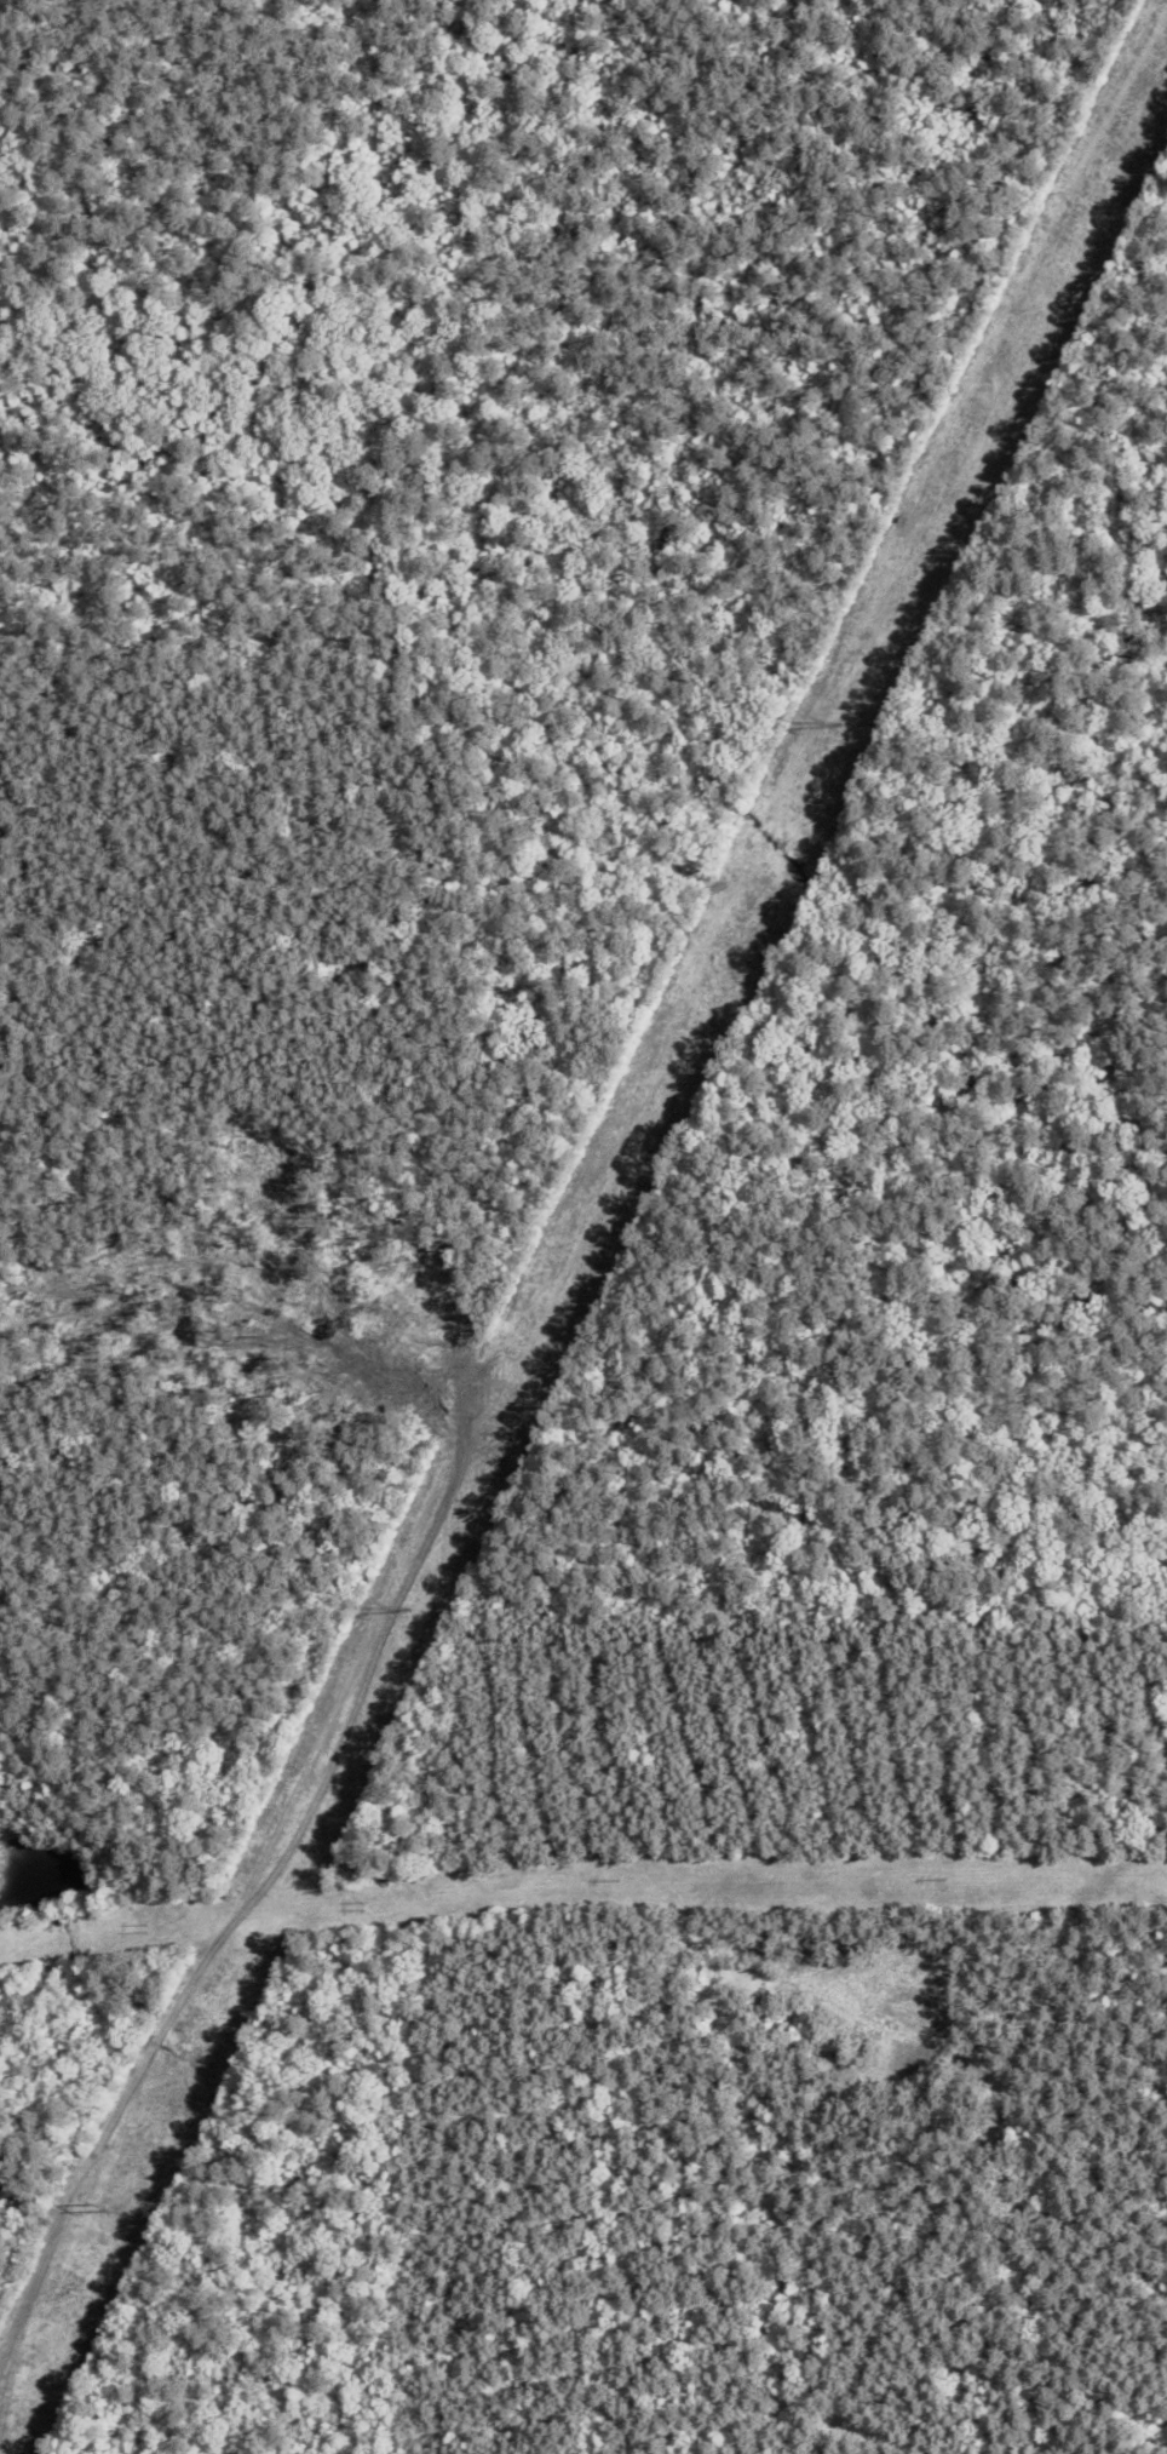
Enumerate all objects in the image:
power tower: (837, 726)
power tower: (402, 1612)

